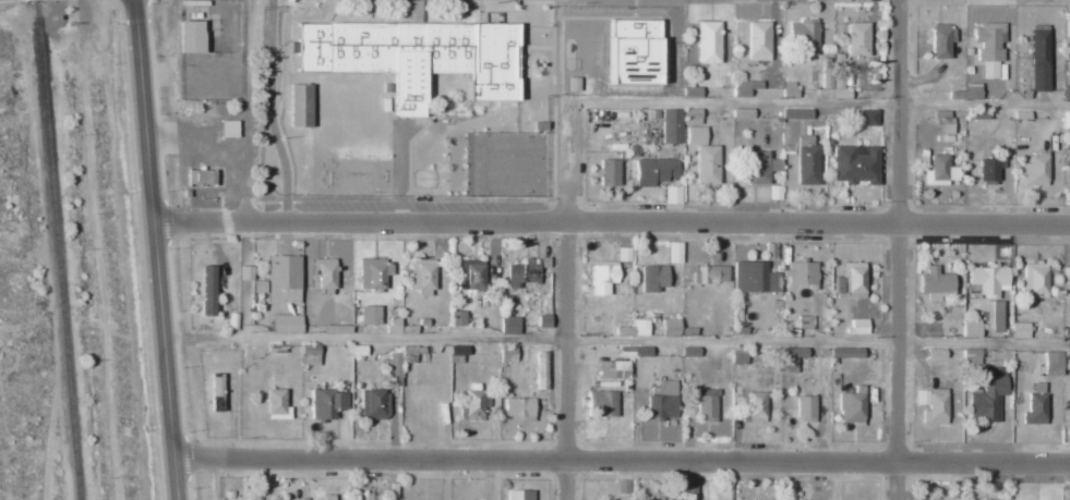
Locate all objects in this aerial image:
building: (1067, 28)
building: (804, 34)
building: (188, 37)
building: (857, 39)
building: (757, 40)
building: (941, 40)
building: (708, 41)
building: (988, 47)
building: (632, 50)
building: (413, 56)
building: (1038, 58)
building: (570, 84)
building: (833, 84)
building: (745, 87)
building: (692, 92)
building: (299, 105)
building: (742, 113)
building: (796, 113)
building: (690, 117)
building: (867, 118)
building: (1066, 119)
building: (943, 122)
building: (671, 126)
building: (227, 129)
building: (695, 135)
building: (806, 160)
building: (707, 164)
building: (854, 164)
building: (759, 167)
building: (988, 170)
building: (1035, 170)
building: (652, 171)
building: (939, 171)
building: (609, 173)
building: (200, 178)
building: (673, 194)
road: (609, 218)
railway: (58, 249)
road: (152, 249)
road: (562, 249)
road: (895, 249)
building: (769, 251)
building: (674, 252)
building: (245, 272)
building: (522, 272)
building: (372, 273)
building: (711, 273)
building: (801, 273)
building: (323, 275)
building: (471, 275)
building: (421, 277)
building: (754, 277)
building: (602, 278)
building: (652, 278)
building: (281, 279)
building: (987, 279)
building: (1034, 279)
building: (854, 280)
building: (935, 283)
building: (259, 286)
building: (206, 290)
building: (369, 315)
building: (994, 316)
building: (457, 318)
building: (543, 320)
building: (286, 324)
building: (393, 325)
building: (508, 326)
building: (797, 326)
building: (857, 326)
building: (670, 327)
building: (640, 328)
building: (971, 328)
building: (335, 329)
building: (1020, 330)
building: (357, 350)
building: (641, 352)
building: (689, 352)
building: (845, 353)
building: (507, 354)
building: (309, 355)
building: (738, 355)
building: (971, 356)
building: (791, 357)
building: (1066, 359)
building: (1051, 363)
building: (393, 369)
building: (613, 369)
building: (664, 387)
building: (216, 392)
building: (987, 397)
building: (326, 404)
building: (374, 404)
building: (601, 404)
building: (706, 404)
building: (268, 405)
building: (474, 405)
building: (931, 405)
building: (661, 406)
building: (852, 406)
building: (756, 407)
building: (805, 407)
building: (518, 408)
building: (1035, 408)
road: (621, 464)
building: (622, 487)
building: (519, 495)
building: (327, 497)
building: (373, 497)
building: (609, 499)

